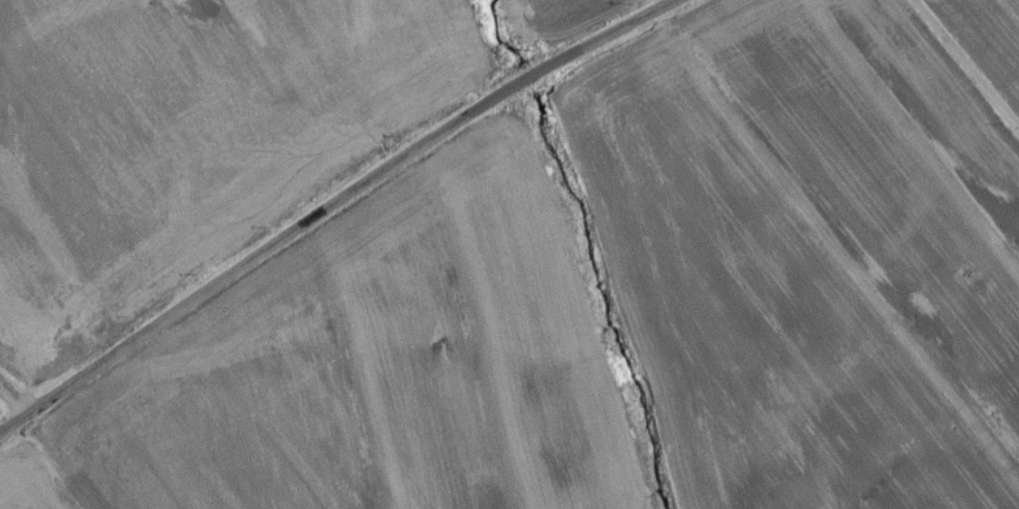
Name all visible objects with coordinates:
road: (963, 69)
road: (338, 205)

